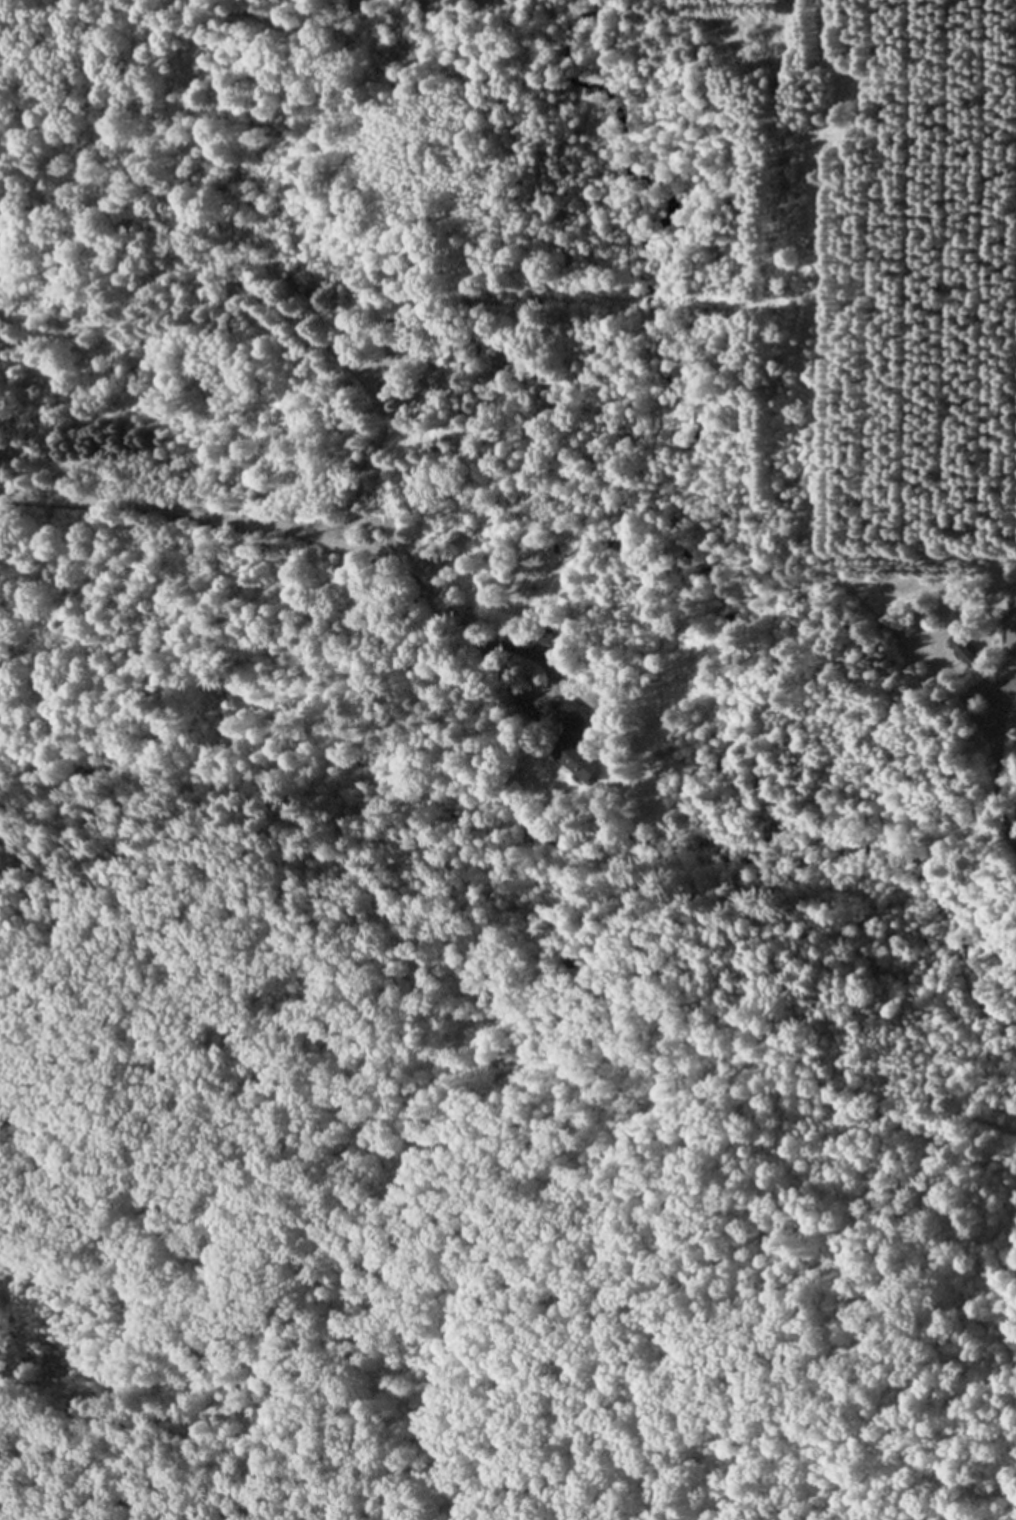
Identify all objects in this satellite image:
road: (189, 303)
building: (499, 358)
building: (437, 376)
road: (441, 607)
building: (1013, 625)
building: (570, 737)
road: (995, 781)

